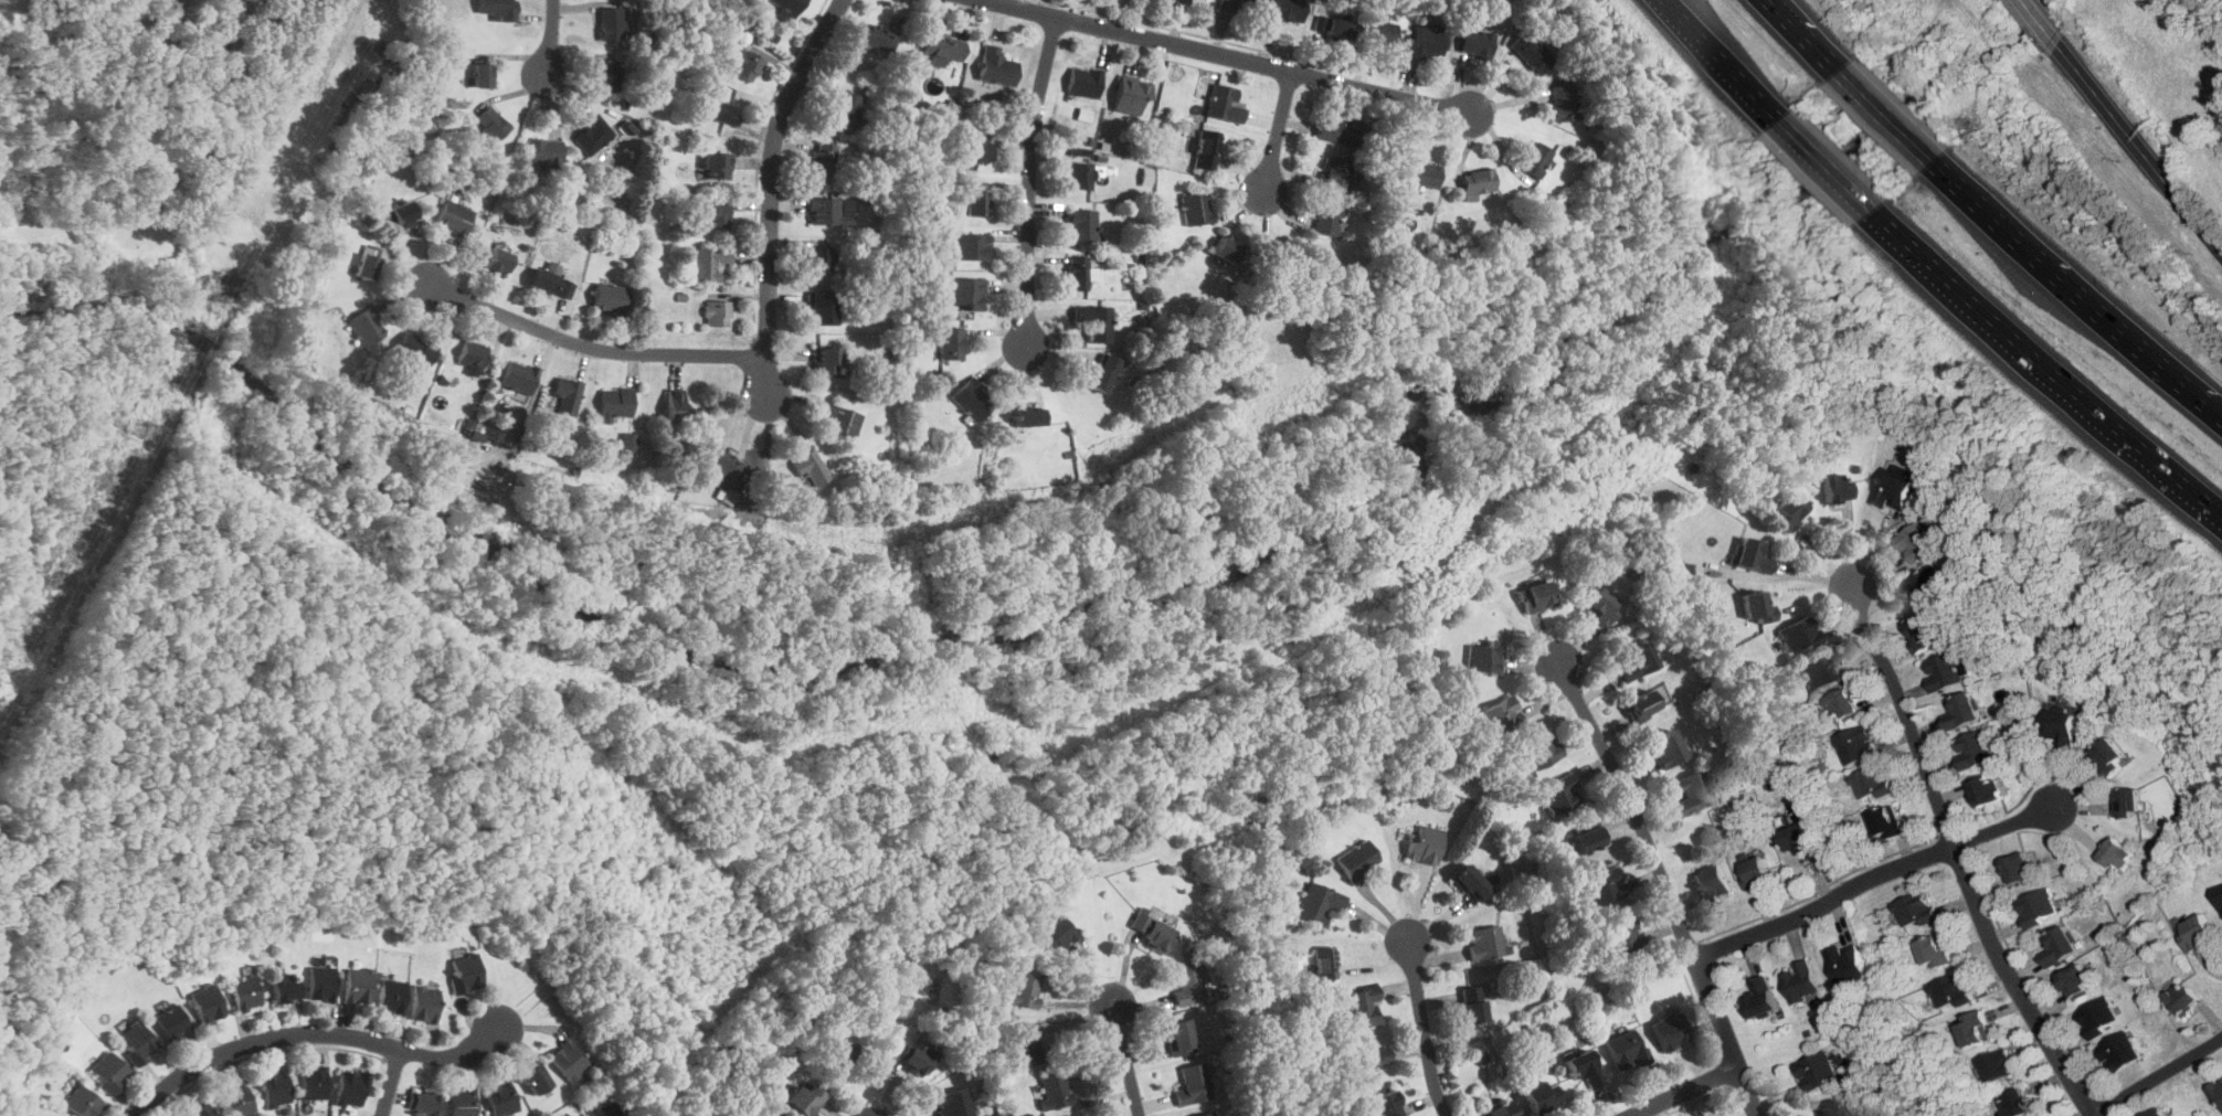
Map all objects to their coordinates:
building: (1184, 0)
building: (1200, 0)
building: (1239, 4)
building: (790, 6)
building: (498, 8)
building: (1288, 10)
road: (2039, 21)
building: (612, 22)
building: (1333, 24)
building: (877, 35)
building: (1378, 35)
road: (551, 36)
road: (1807, 38)
building: (1428, 41)
building: (1477, 42)
building: (944, 46)
building: (1532, 52)
road: (1228, 55)
road: (1722, 62)
building: (747, 64)
building: (997, 66)
building: (483, 73)
building: (609, 75)
building: (1083, 82)
building: (1131, 95)
building: (1225, 103)
building: (1564, 103)
building: (846, 107)
building: (724, 111)
road: (1892, 121)
building: (490, 123)
building: (1337, 126)
road: (1279, 130)
building: (594, 135)
building: (975, 146)
road: (2138, 147)
building: (1207, 149)
building: (543, 151)
building: (822, 159)
building: (1537, 159)
building: (717, 164)
road: (1828, 168)
building: (1336, 172)
building: (1421, 173)
building: (1080, 174)
road: (1030, 180)
building: (1479, 180)
road: (771, 189)
building: (977, 198)
building: (1196, 208)
building: (830, 211)
building: (712, 212)
building: (402, 214)
building: (455, 216)
building: (1327, 217)
building: (1082, 225)
building: (1377, 237)
building: (971, 246)
building: (1226, 247)
building: (819, 258)
building: (498, 261)
building: (368, 262)
building: (710, 262)
building: (1078, 272)
building: (552, 283)
building: (966, 291)
road: (2078, 296)
building: (610, 297)
building: (822, 307)
building: (718, 312)
building: (1094, 321)
building: (367, 327)
building: (951, 342)
road: (592, 346)
building: (415, 350)
building: (473, 353)
building: (827, 359)
road: (2046, 368)
building: (1103, 372)
building: (519, 375)
building: (567, 393)
building: (972, 400)
building: (615, 403)
building: (677, 406)
building: (1030, 416)
building: (843, 422)
power tower: (137, 427)
building: (628, 443)
building: (723, 460)
building: (811, 467)
building: (1835, 487)
building: (1894, 489)
building: (1789, 510)
building: (1918, 542)
building: (1753, 554)
road: (1798, 573)
building: (1927, 583)
building: (1536, 596)
building: (1600, 605)
building: (1756, 605)
building: (1923, 633)
building: (1801, 634)
building: (1483, 656)
building: (1638, 661)
building: (1946, 670)
building: (1822, 671)
building: (1647, 702)
building: (1844, 705)
building: (1962, 711)
building: (1501, 716)
building: (2063, 729)
building: (1858, 744)
building: (1666, 747)
building: (1541, 748)
building: (1974, 748)
building: (2113, 756)
building: (1871, 782)
building: (1989, 789)
building: (1690, 791)
building: (1562, 793)
building: (2130, 801)
building: (1888, 821)
building: (1589, 839)
building: (1801, 841)
building: (1425, 843)
building: (2118, 853)
road: (1961, 854)
building: (1357, 859)
building: (2021, 867)
building: (1758, 872)
road: (1873, 879)
building: (1472, 882)
building: (1712, 882)
building: (1604, 885)
road: (1666, 886)
building: (2221, 894)
building: (1319, 902)
building: (2038, 906)
building: (1917, 910)
building: (1152, 927)
building: (2199, 932)
building: (1057, 933)
building: (1622, 936)
building: (1485, 942)
building: (2061, 945)
building: (1937, 950)
building: (1324, 961)
building: (1847, 961)
building: (466, 970)
building: (2078, 980)
building: (321, 982)
building: (1186, 982)
building: (1801, 982)
building: (359, 984)
building: (285, 986)
building: (1027, 989)
building: (1954, 990)
building: (245, 991)
building: (392, 995)
building: (1763, 996)
building: (2184, 996)
building: (208, 1002)
building: (425, 1002)
building: (1474, 1003)
building: (1361, 1006)
building: (2099, 1017)
building: (172, 1022)
building: (1977, 1029)
road: (1428, 1030)
building: (1671, 1031)
road: (314, 1034)
building: (1179, 1035)
building: (137, 1042)
building: (1027, 1042)
building: (839, 1048)
building: (1626, 1049)
building: (2120, 1051)
building: (918, 1055)
building: (568, 1059)
building: (1371, 1060)
road: (1124, 1061)
building: (1994, 1064)
building: (1586, 1066)
building: (109, 1071)
building: (1818, 1071)
building: (536, 1076)
road: (2158, 1077)
building: (314, 1082)
road: (393, 1083)
building: (1194, 1083)
building: (275, 1086)
building: (351, 1086)
building: (1055, 1090)
building: (2218, 1091)
road: (1686, 1092)
building: (1542, 1094)
building: (501, 1097)
building: (804, 1097)
building: (237, 1098)
building: (83, 1101)
building: (462, 1102)
building: (424, 1103)
building: (954, 1103)
building: (1386, 1103)
building: (2017, 1103)
building: (604, 1108)
building: (1503, 1108)
building: (1834, 1108)
building: (200, 1110)
building: (1204, 1113)
building: (2155, 1113)
building: (768, 1114)
building: (580, 1115)
building: (1072, 1115)

